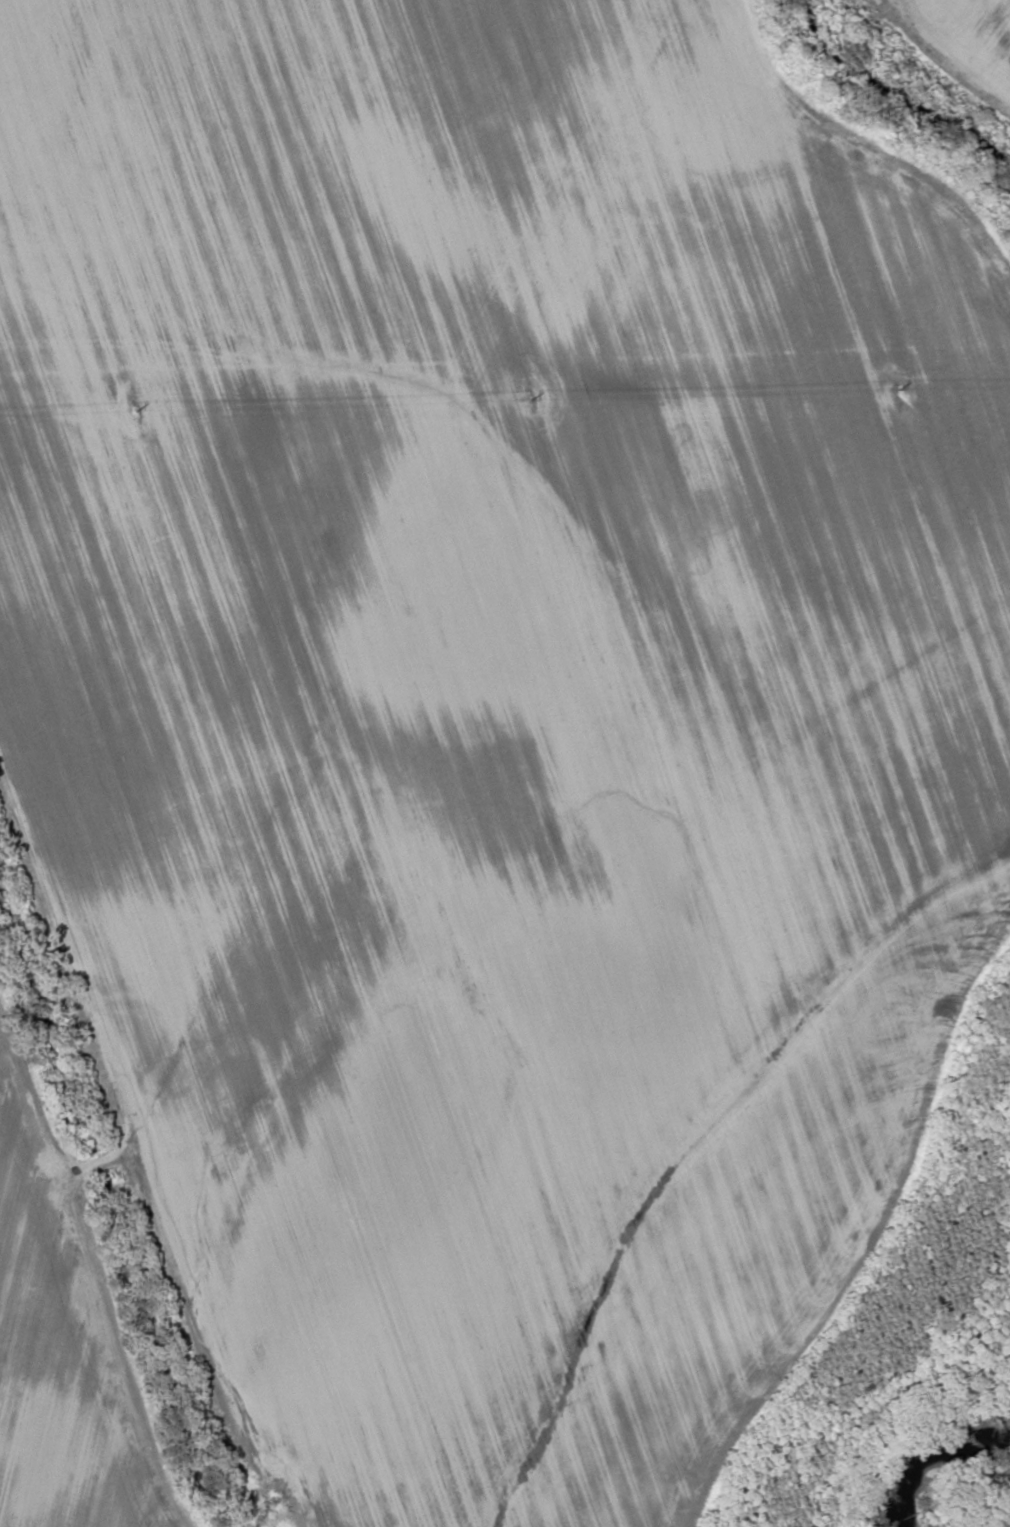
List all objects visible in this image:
river: (945, 1463)

